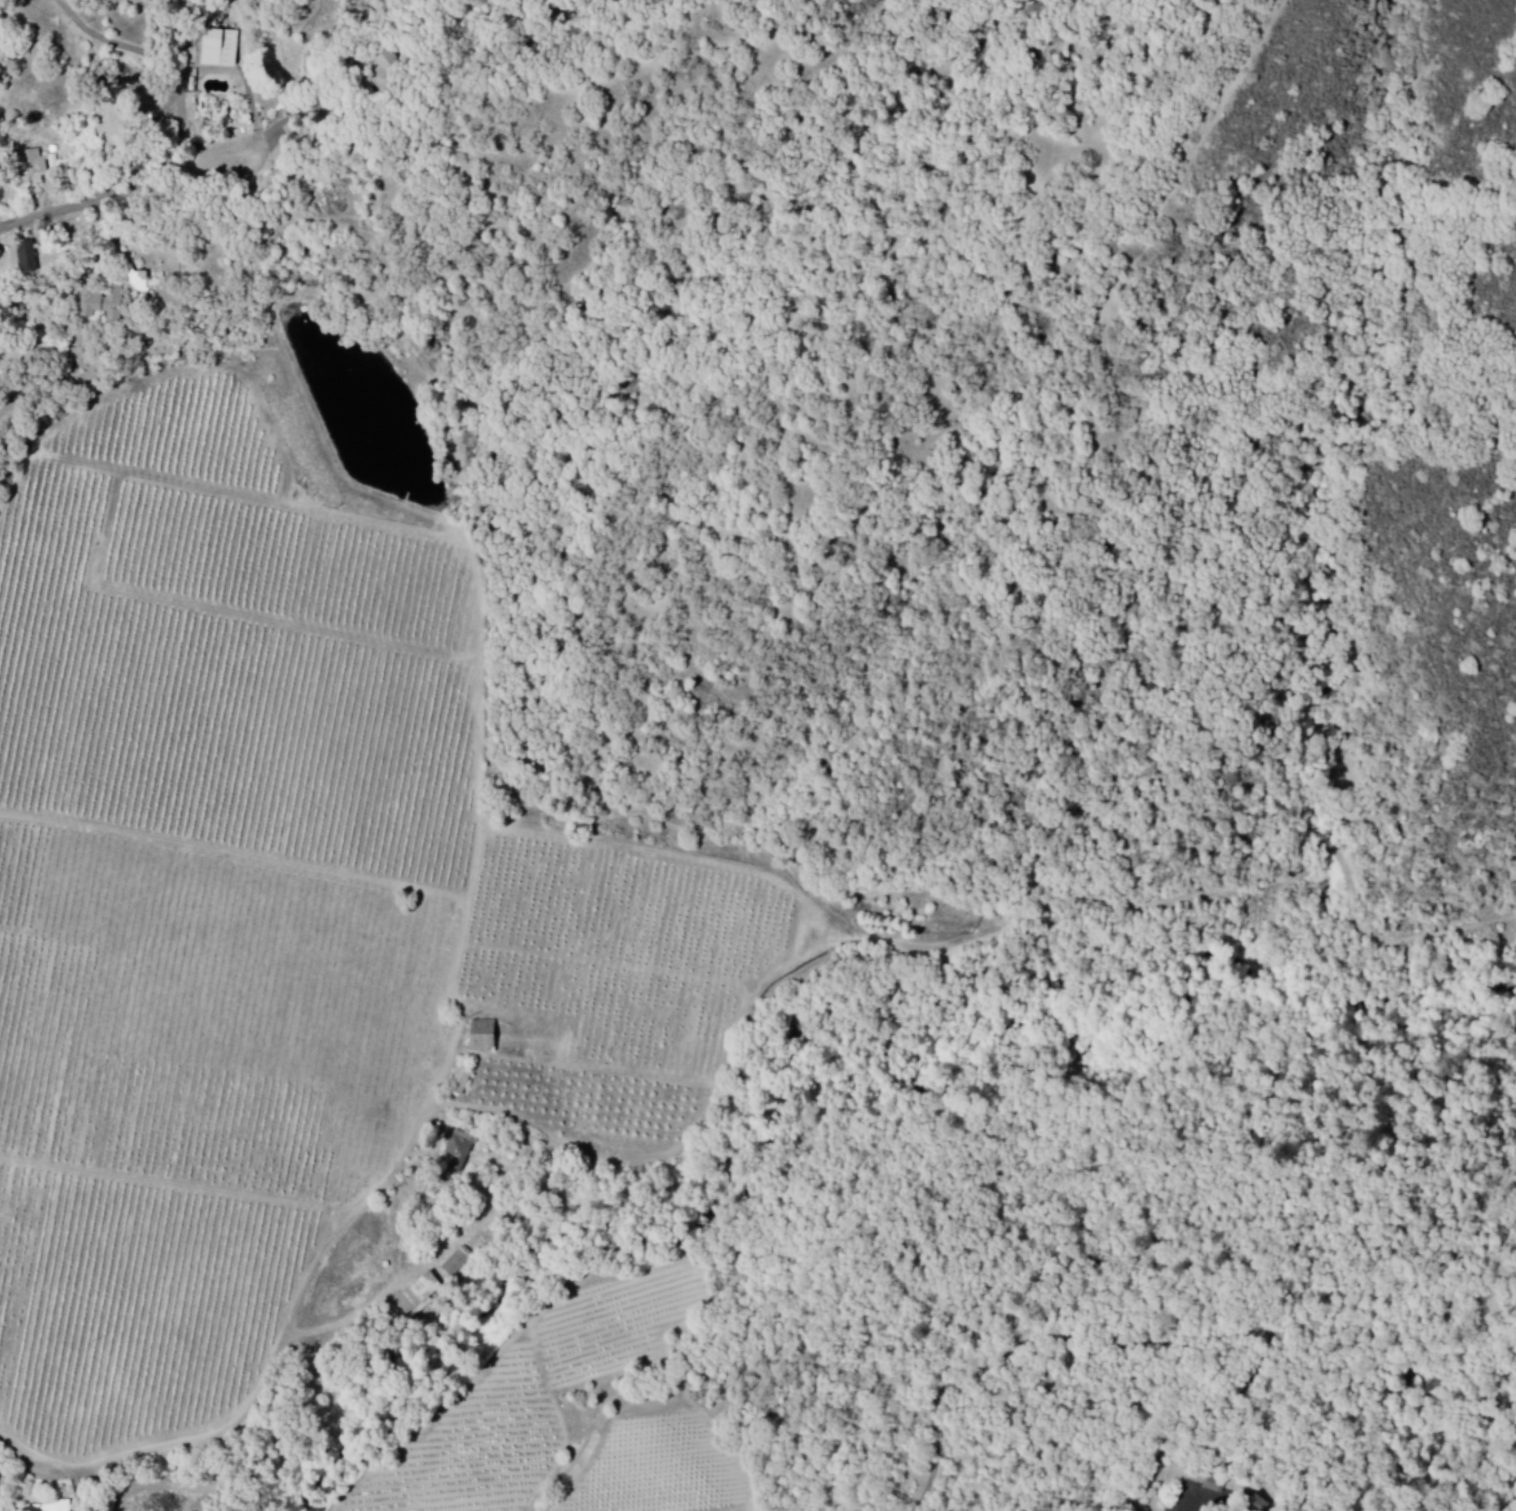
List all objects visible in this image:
building: (221, 50)
road: (153, 68)
building: (386, 71)
building: (33, 164)
road: (132, 197)
building: (25, 258)
building: (0, 279)
building: (140, 283)
building: (484, 1037)
building: (460, 1083)
building: (459, 1153)
building: (458, 1263)
building: (417, 1297)
road: (270, 1375)
building: (1215, 1487)

